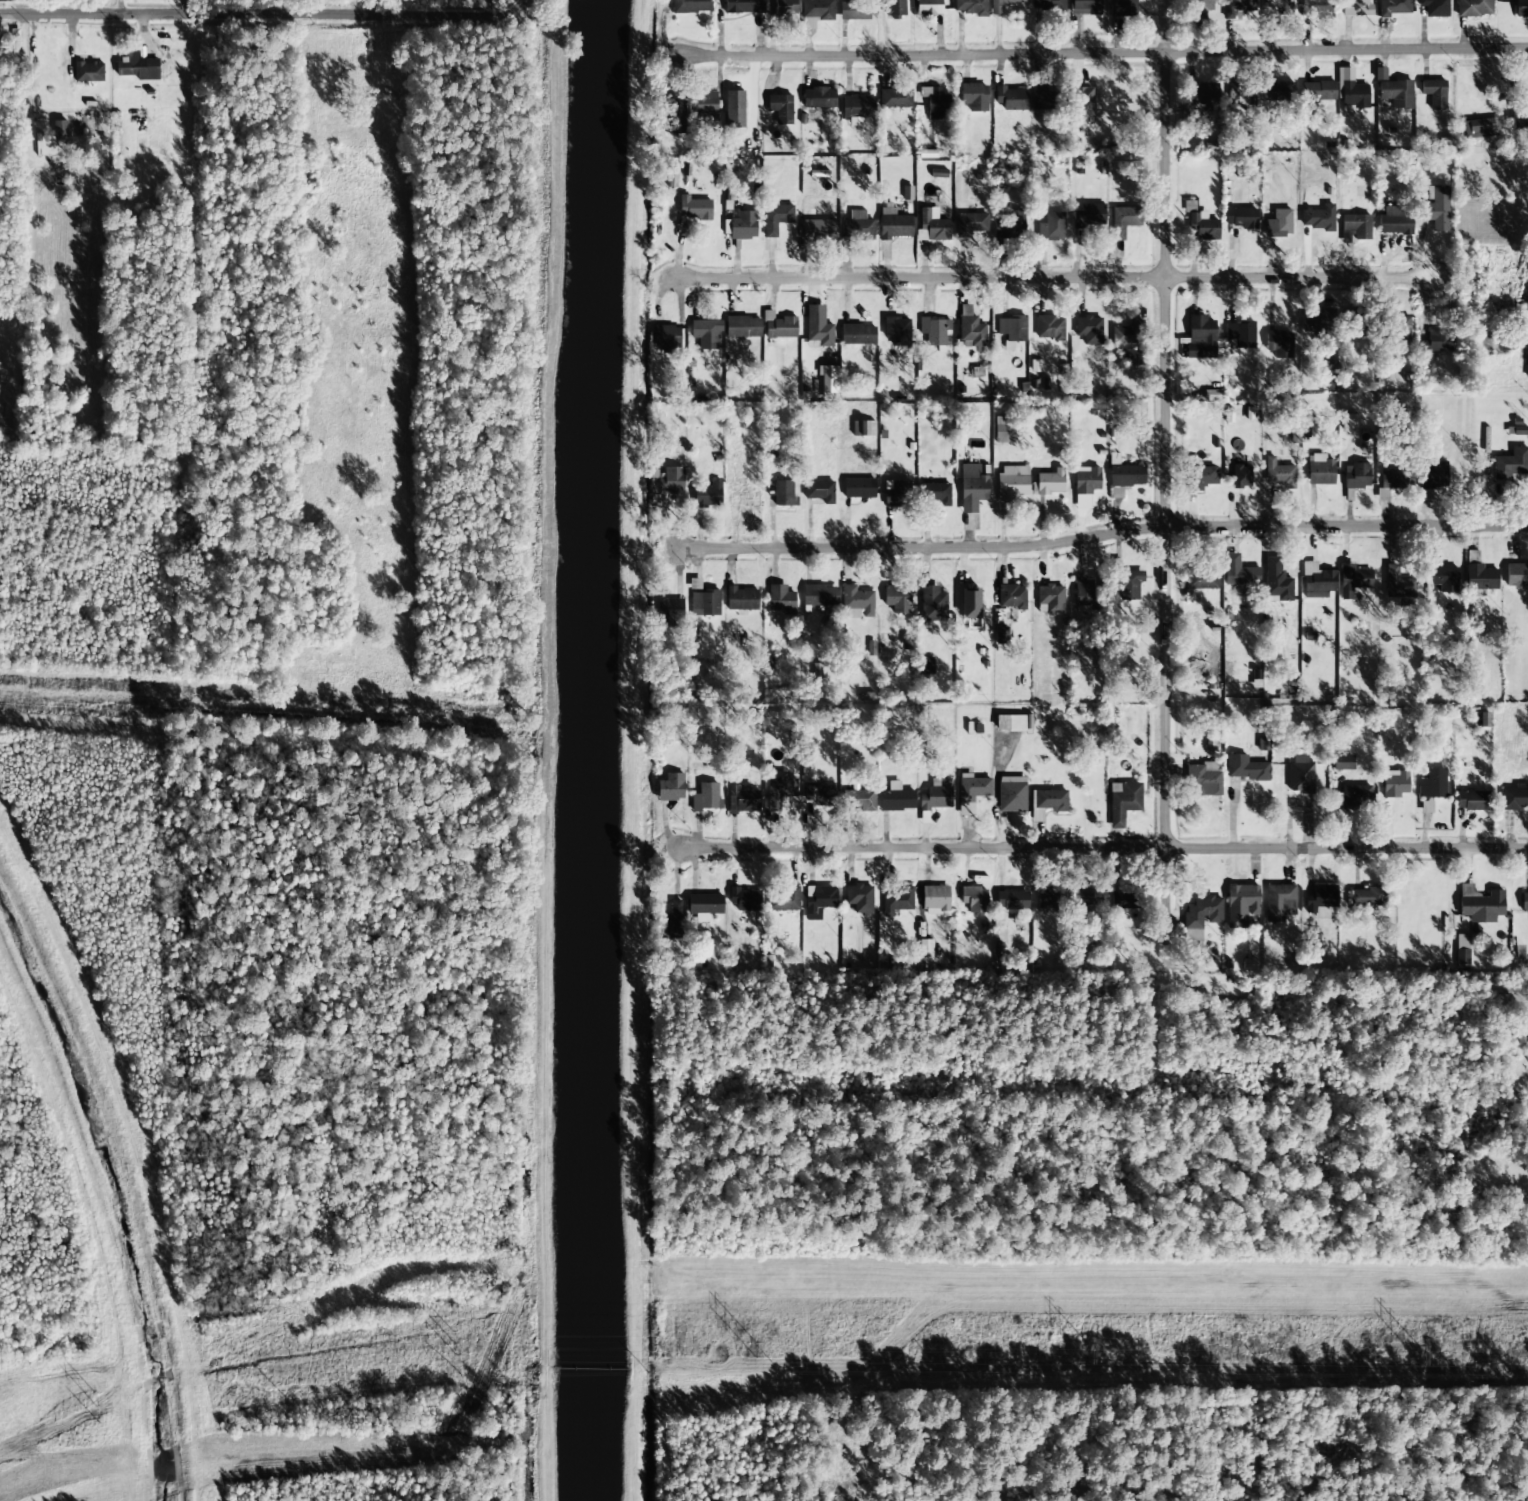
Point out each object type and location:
building: (1048, 4)
building: (691, 6)
building: (744, 6)
building: (928, 7)
building: (970, 7)
building: (1085, 7)
building: (1282, 7)
building: (1355, 7)
building: (1392, 7)
building: (785, 8)
building: (895, 8)
building: (1122, 8)
building: (1238, 8)
building: (1316, 8)
building: (1434, 8)
building: (1474, 8)
building: (1521, 8)
building: (996, 9)
building: (1200, 9)
building: (853, 10)
building: (816, 12)
road: (232, 15)
road: (497, 17)
road: (1104, 53)
building: (169, 65)
building: (137, 67)
building: (88, 72)
building: (1503, 87)
building: (1350, 90)
building: (1318, 91)
building: (1393, 91)
building: (1278, 92)
building: (1434, 93)
building: (1202, 94)
building: (1241, 95)
building: (974, 97)
building: (819, 98)
building: (895, 98)
building: (1010, 98)
building: (1042, 99)
building: (935, 102)
building: (1082, 102)
building: (705, 107)
building: (781, 108)
building: (734, 109)
building: (857, 109)
building: (675, 117)
building: (1519, 117)
building: (59, 129)
building: (1479, 129)
building: (938, 173)
building: (694, 208)
building: (1435, 208)
building: (1089, 216)
building: (776, 218)
building: (1240, 218)
building: (1319, 218)
building: (1124, 221)
building: (1395, 221)
building: (894, 224)
building: (970, 224)
building: (1201, 224)
building: (1278, 224)
building: (1008, 225)
building: (741, 226)
building: (932, 226)
building: (1051, 227)
building: (1355, 228)
building: (819, 229)
building: (856, 229)
road: (1055, 279)
building: (1526, 300)
building: (1318, 322)
building: (1353, 322)
building: (779, 326)
building: (742, 327)
building: (818, 327)
building: (1012, 328)
building: (1049, 328)
building: (1088, 329)
building: (1400, 329)
building: (897, 331)
building: (934, 331)
building: (971, 332)
building: (705, 334)
building: (1127, 334)
building: (1241, 334)
building: (857, 335)
building: (1200, 337)
building: (666, 339)
building: (1278, 343)
building: (1434, 343)
building: (1132, 357)
building: (1526, 359)
park: (15, 370)
building: (1348, 421)
building: (863, 428)
building: (1004, 430)
building: (1510, 464)
building: (1319, 470)
building: (1124, 473)
building: (1279, 474)
building: (1241, 476)
building: (1356, 476)
road: (1165, 477)
building: (1201, 477)
building: (1432, 477)
building: (1392, 479)
building: (1087, 480)
building: (1012, 482)
building: (1049, 483)
building: (665, 484)
building: (859, 488)
building: (972, 488)
building: (819, 491)
building: (783, 492)
building: (895, 493)
building: (935, 493)
building: (1382, 494)
building: (708, 495)
building: (743, 497)
building: (1082, 501)
road: (1104, 534)
building: (1238, 572)
building: (1478, 573)
building: (1516, 575)
building: (1201, 578)
building: (1444, 578)
building: (1352, 580)
building: (1276, 581)
building: (1317, 581)
building: (1129, 584)
building: (1397, 584)
building: (1083, 593)
building: (819, 596)
building: (1012, 597)
building: (1050, 598)
building: (741, 599)
building: (781, 599)
building: (897, 599)
building: (857, 602)
building: (705, 603)
building: (969, 603)
building: (933, 604)
building: (670, 613)
building: (926, 666)
building: (1013, 723)
building: (1342, 763)
building: (1245, 768)
building: (1300, 775)
building: (1203, 779)
building: (1395, 784)
building: (1431, 784)
building: (780, 785)
building: (671, 788)
building: (820, 792)
building: (971, 792)
building: (1011, 794)
building: (935, 796)
building: (706, 797)
building: (1514, 797)
building: (896, 798)
building: (1346, 798)
building: (742, 799)
building: (859, 800)
building: (1123, 801)
building: (1471, 801)
building: (1046, 803)
building: (773, 804)
building: (1426, 807)
road: (1105, 848)
building: (1088, 896)
building: (1367, 897)
building: (859, 898)
building: (1049, 898)
building: (744, 899)
building: (784, 899)
building: (975, 899)
building: (897, 900)
building: (935, 900)
building: (1012, 900)
building: (1121, 900)
building: (819, 901)
building: (1524, 902)
building: (1279, 903)
building: (1242, 904)
building: (1480, 905)
building: (1203, 912)
building: (672, 922)
building: (1461, 949)
building: (925, 950)
building: (1527, 1060)
power tower: (751, 1347)
power tower: (1412, 1348)
power tower: (1086, 1350)
power tower: (447, 1353)
power tower: (87, 1405)

